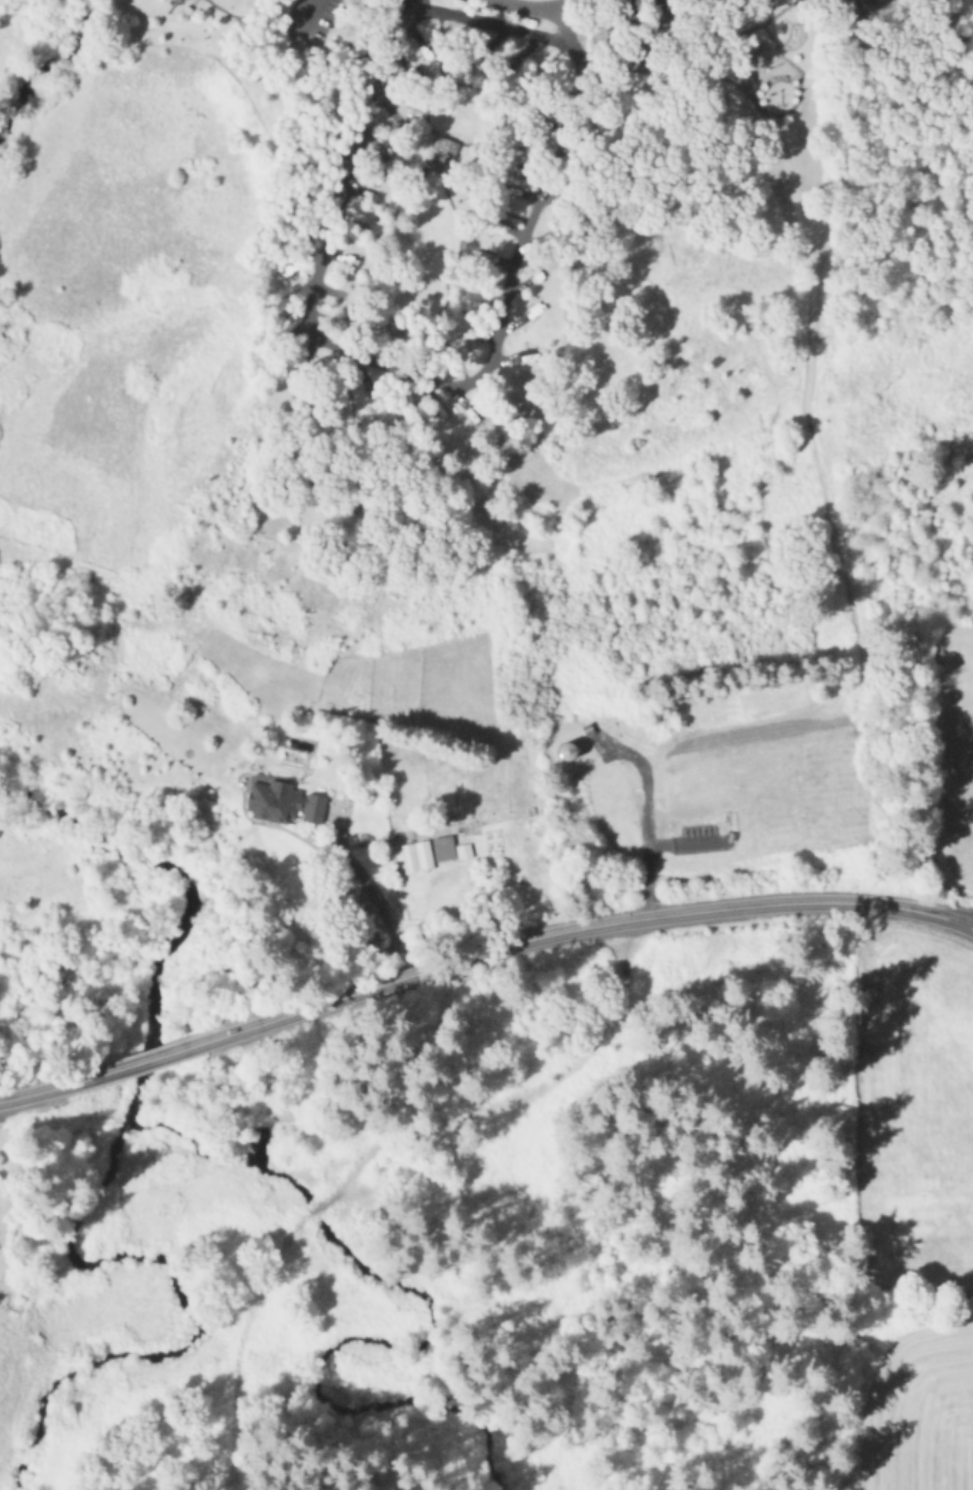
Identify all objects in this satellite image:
road: (539, 1)
road: (308, 14)
road: (491, 22)
road: (695, 45)
building: (599, 128)
building: (442, 153)
building: (521, 167)
road: (418, 376)
building: (371, 389)
building: (567, 751)
building: (282, 803)
building: (442, 848)
building: (463, 850)
building: (415, 856)
road: (763, 903)
road: (385, 913)
road: (946, 918)
road: (963, 921)
road: (963, 925)
road: (427, 969)
building: (652, 969)
road: (174, 1050)
road: (40, 1091)
crop: (921, 1399)

